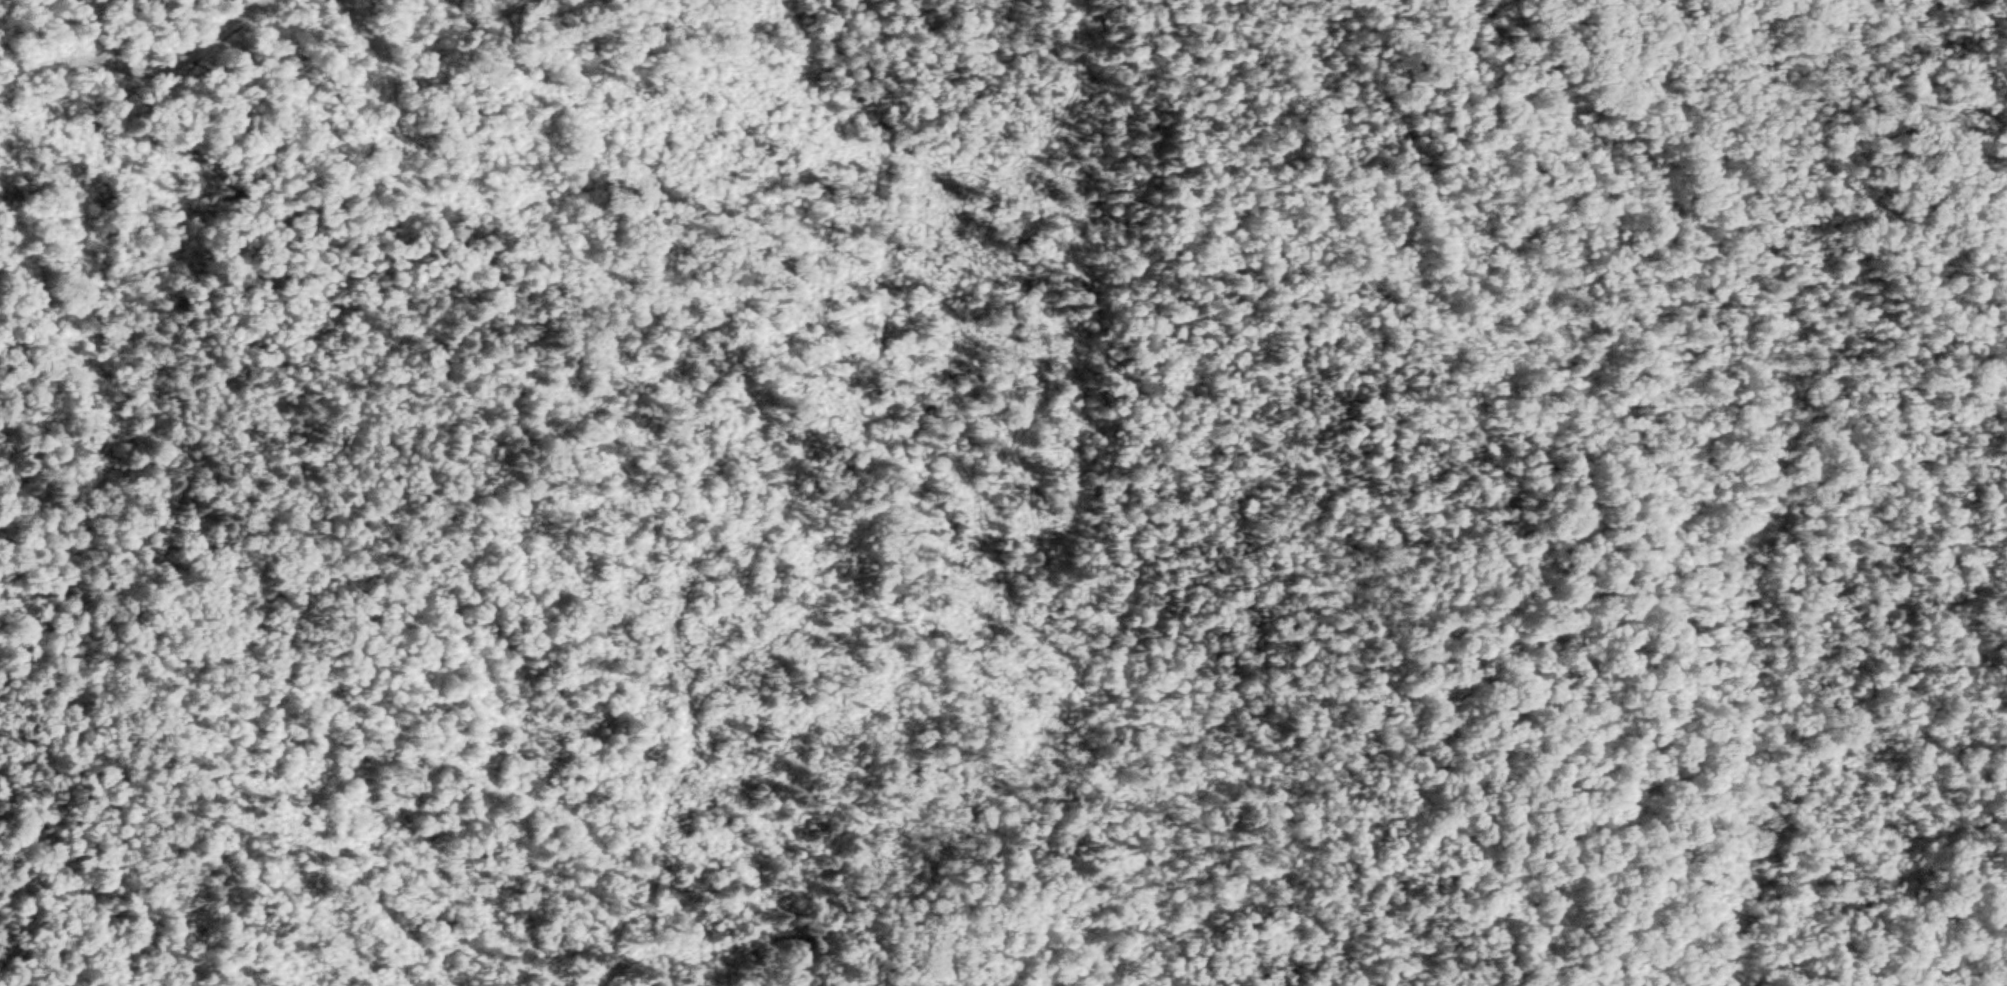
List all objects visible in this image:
road: (646, 877)

